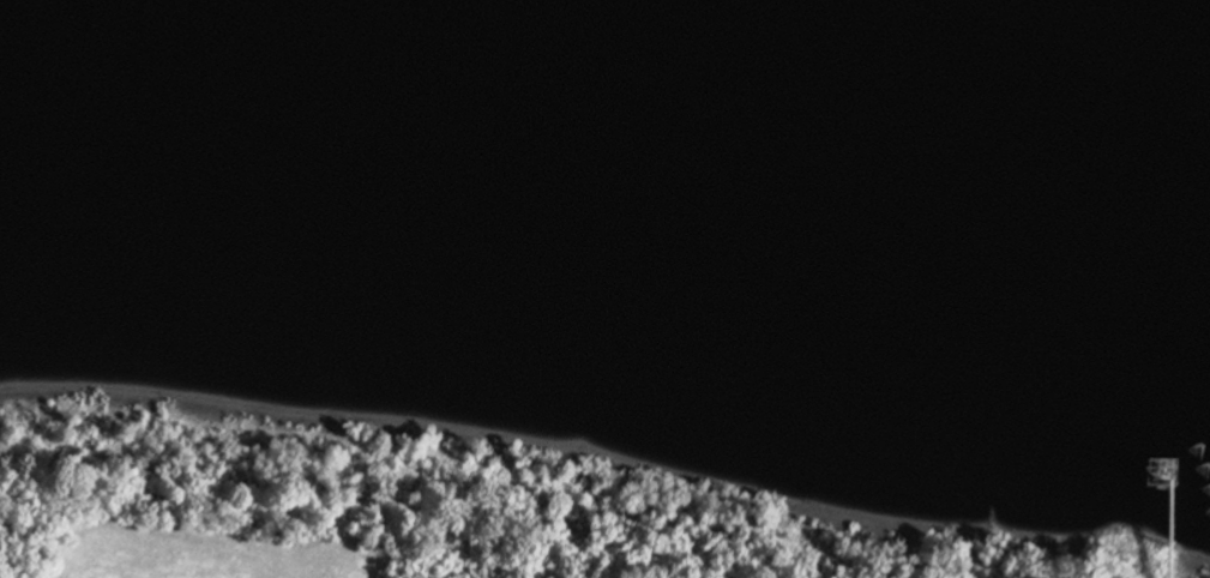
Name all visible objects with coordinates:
river: (1125, 23)

